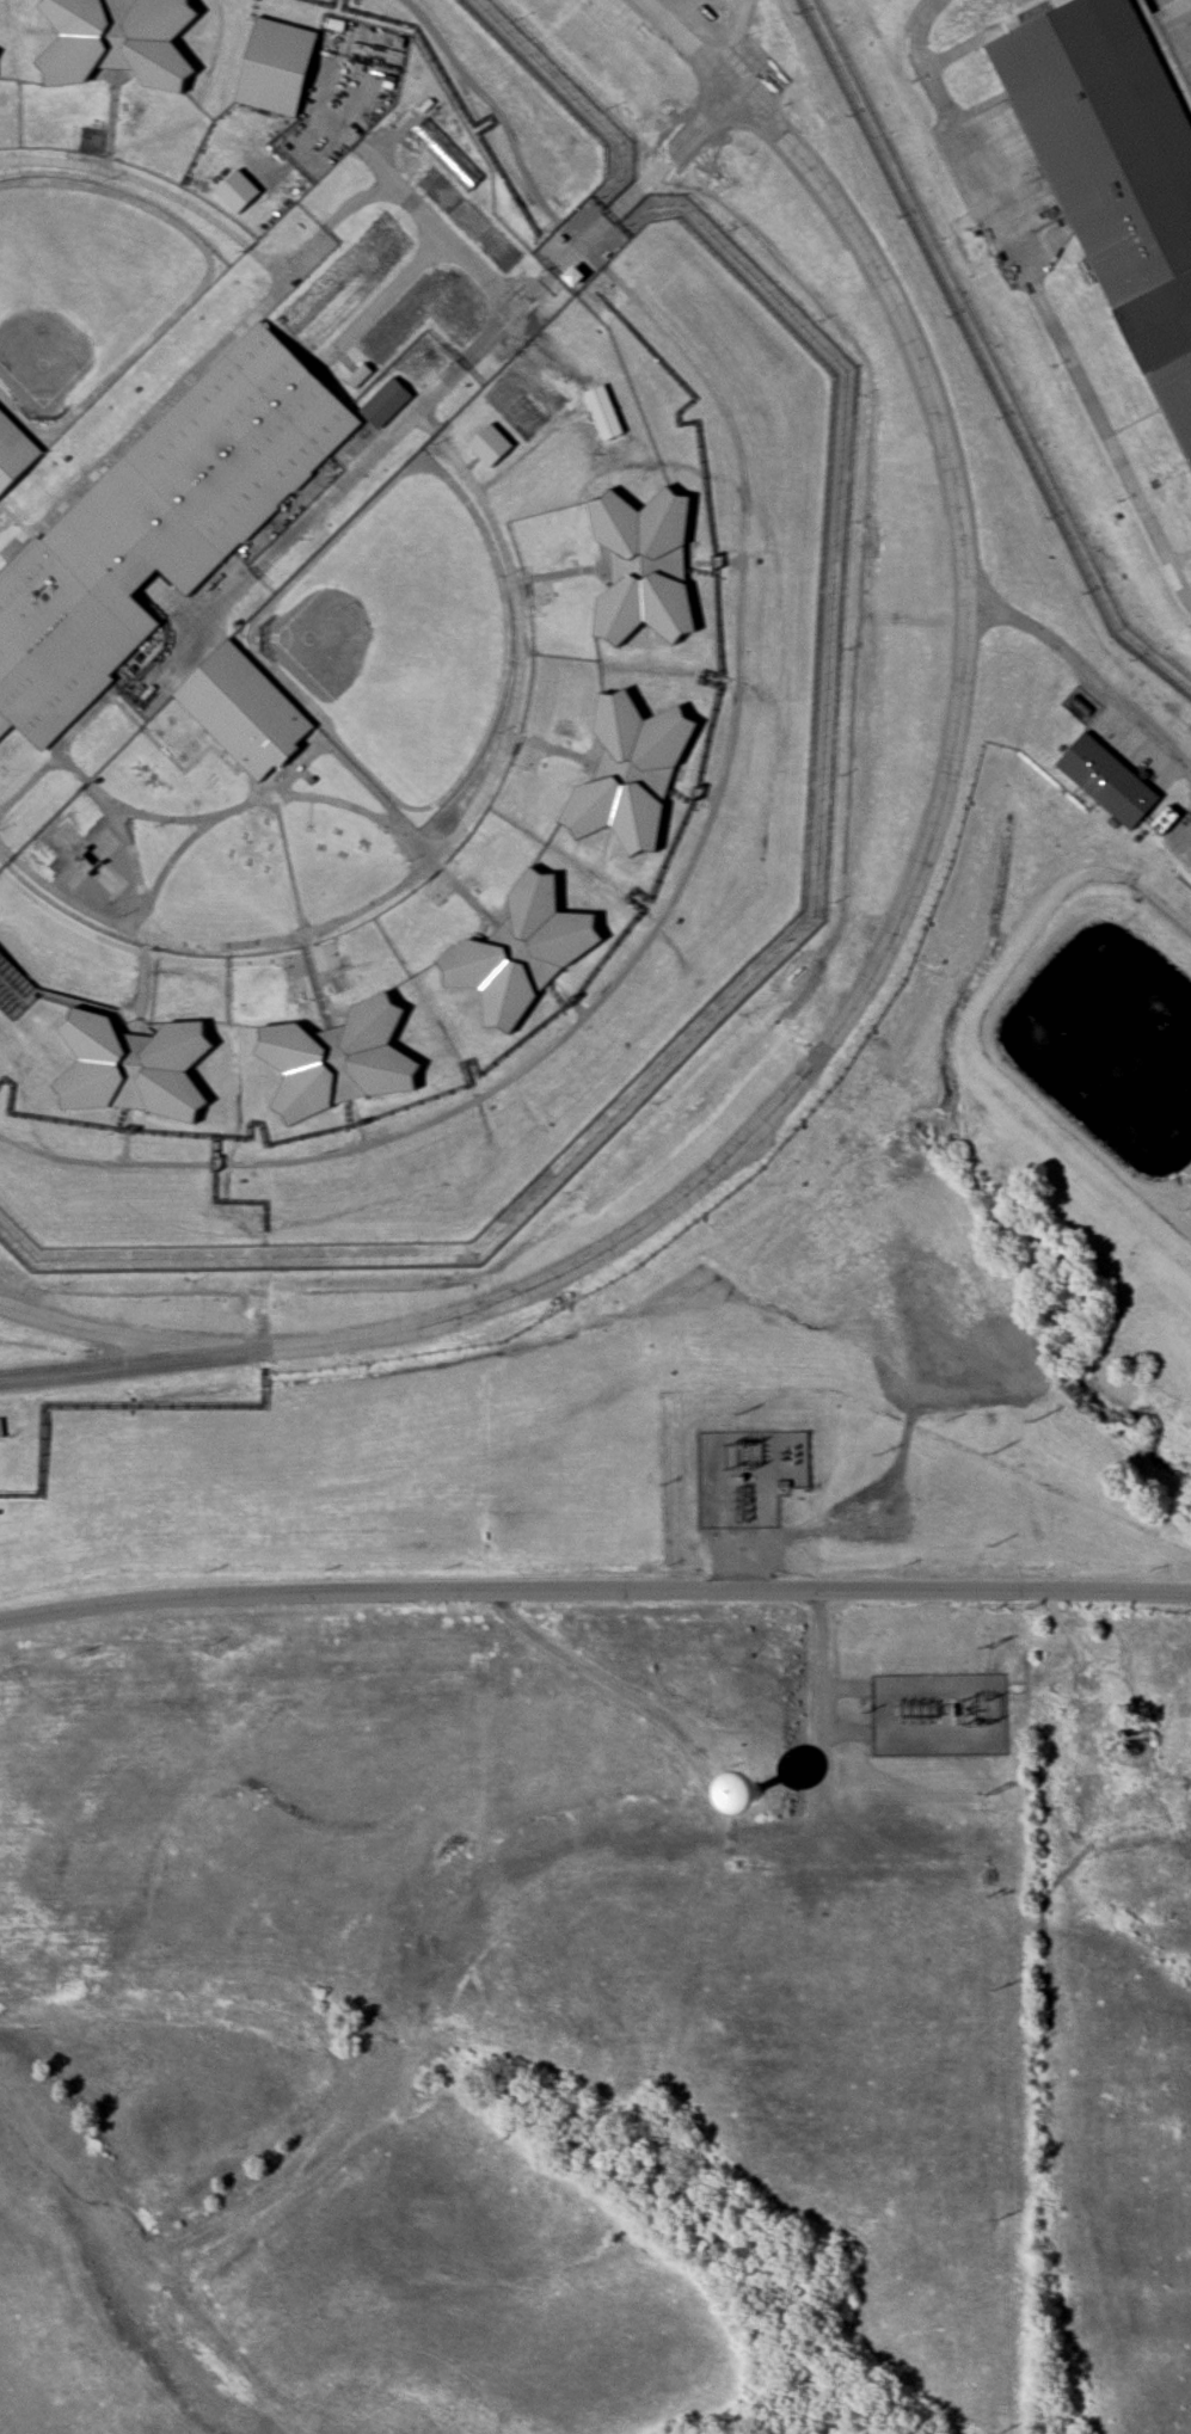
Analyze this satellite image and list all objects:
road: (732, 30)
building: (119, 39)
road: (1161, 57)
building: (276, 64)
road: (493, 105)
road: (111, 119)
building: (446, 152)
building: (1113, 170)
road: (154, 186)
building: (237, 190)
road: (419, 210)
crop: (469, 222)
road: (578, 245)
building: (571, 275)
crop: (343, 279)
park: (80, 284)
road: (379, 299)
road: (1038, 300)
crop: (423, 312)
crop: (417, 362)
road: (203, 364)
building: (357, 374)
road: (443, 377)
building: (383, 401)
building: (600, 411)
building: (487, 443)
road: (528, 445)
building: (13, 450)
road: (468, 461)
building: (154, 529)
road: (1179, 555)
building: (641, 565)
road: (560, 572)
park: (399, 639)
road: (1087, 674)
building: (245, 712)
road: (60, 742)
road: (553, 748)
road: (172, 760)
building: (631, 770)
road: (354, 772)
building: (1110, 780)
road: (308, 795)
road: (437, 852)
road: (135, 879)
road: (297, 914)
road: (653, 934)
road: (895, 942)
building: (522, 952)
building: (338, 1059)
building: (130, 1065)
road: (88, 1333)
power substation: (748, 1474)
building: (803, 1476)
road: (594, 1592)
road: (1055, 1606)
road: (822, 1640)
road: (1094, 1664)
road: (596, 1676)
building: (1094, 1710)
road: (824, 1733)
building: (1104, 1756)
building: (751, 1789)
water tower: (754, 1793)

